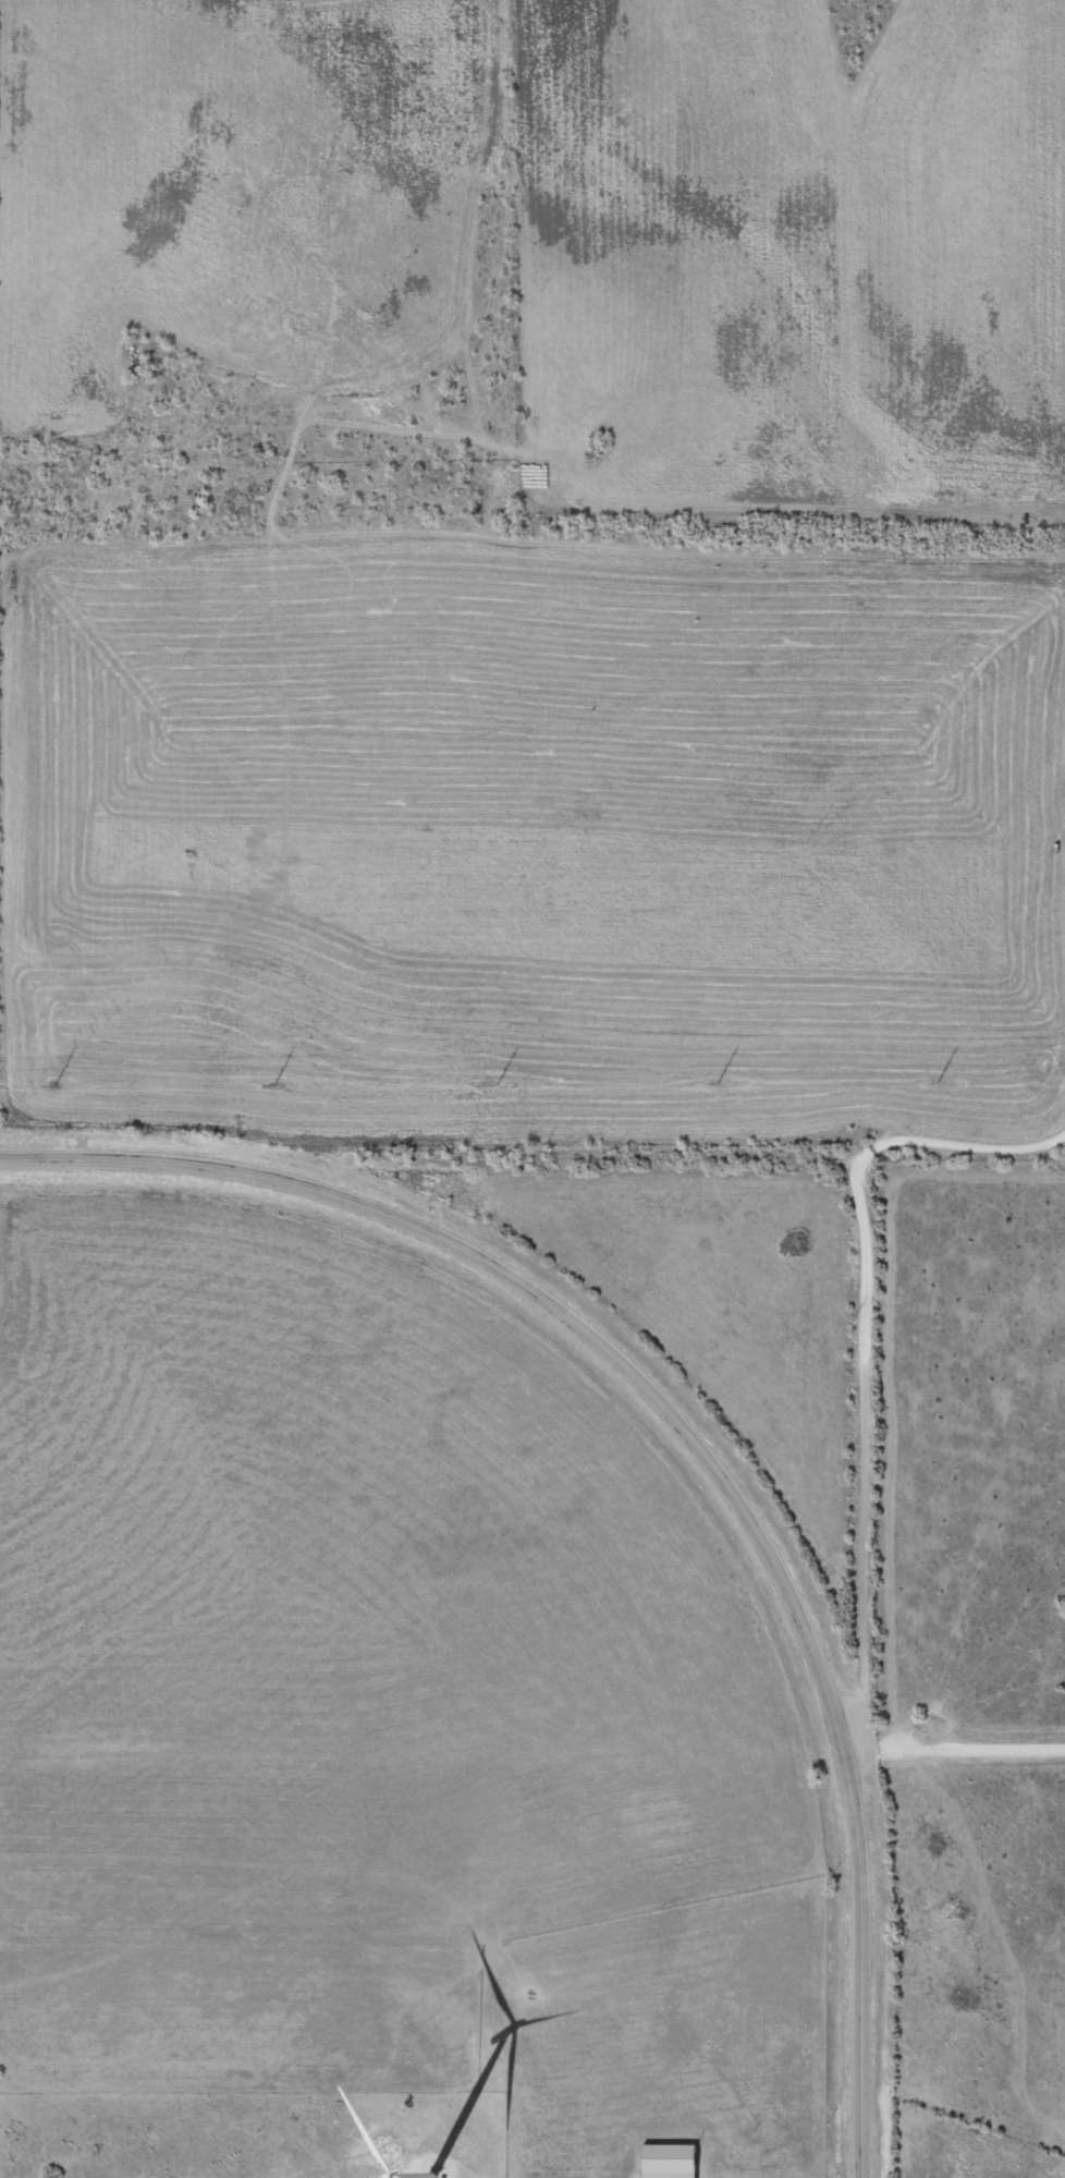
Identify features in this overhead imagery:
road: (700, 543)
power tower: (938, 1082)
power tower: (718, 1083)
power tower: (52, 1084)
power tower: (273, 1084)
power tower: (498, 1084)
road: (707, 1173)
road: (694, 1435)
road: (867, 1465)

